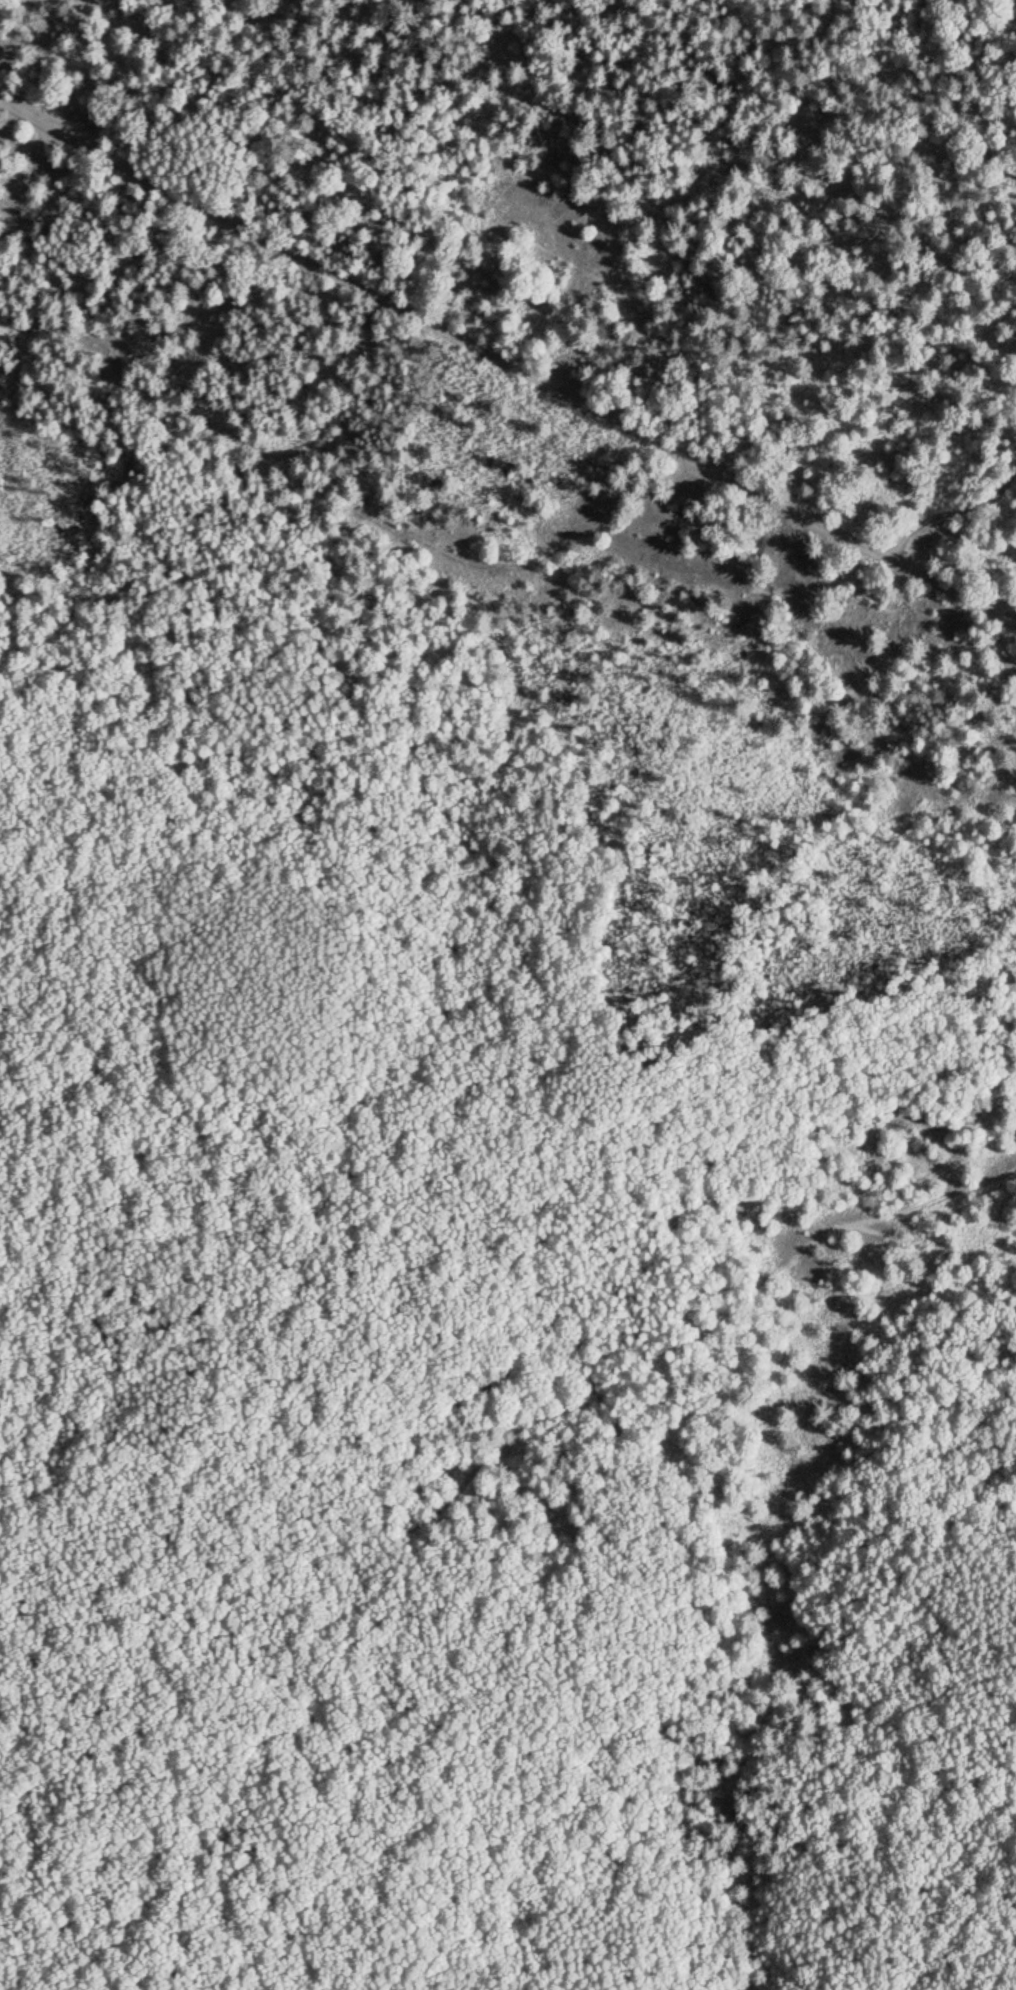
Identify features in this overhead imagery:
road: (936, 98)
road: (507, 359)
road: (951, 510)
road: (550, 1342)
road: (524, 1439)
road: (769, 1593)

